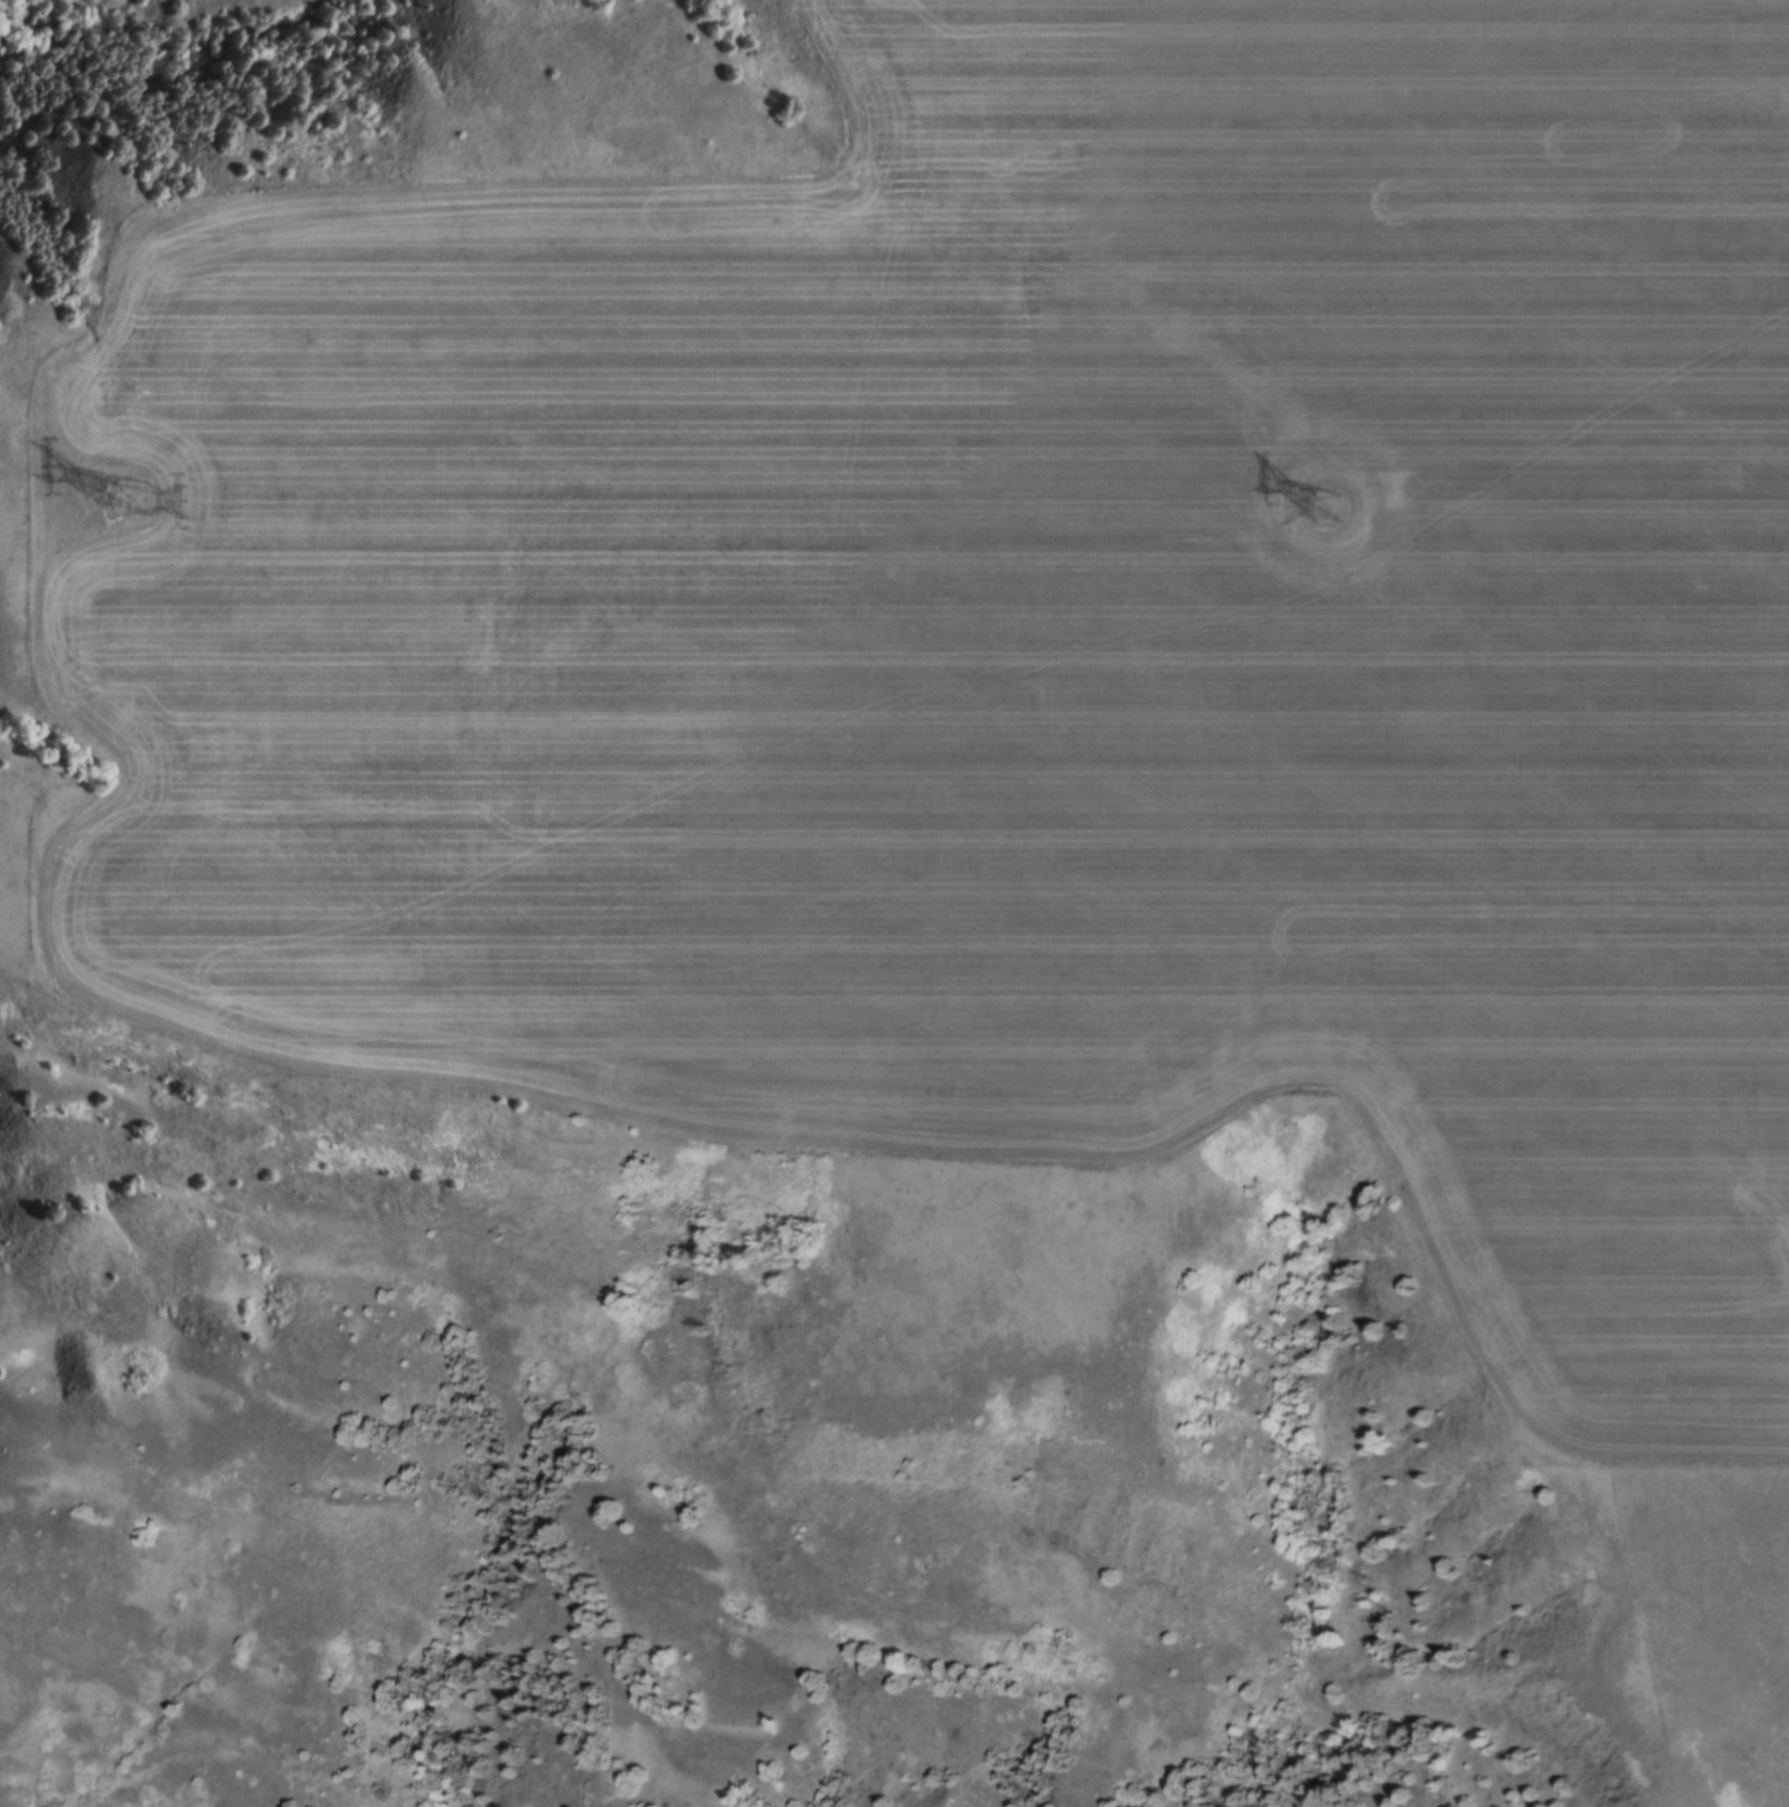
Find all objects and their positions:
power tower: (128, 499)
power tower: (1325, 508)

